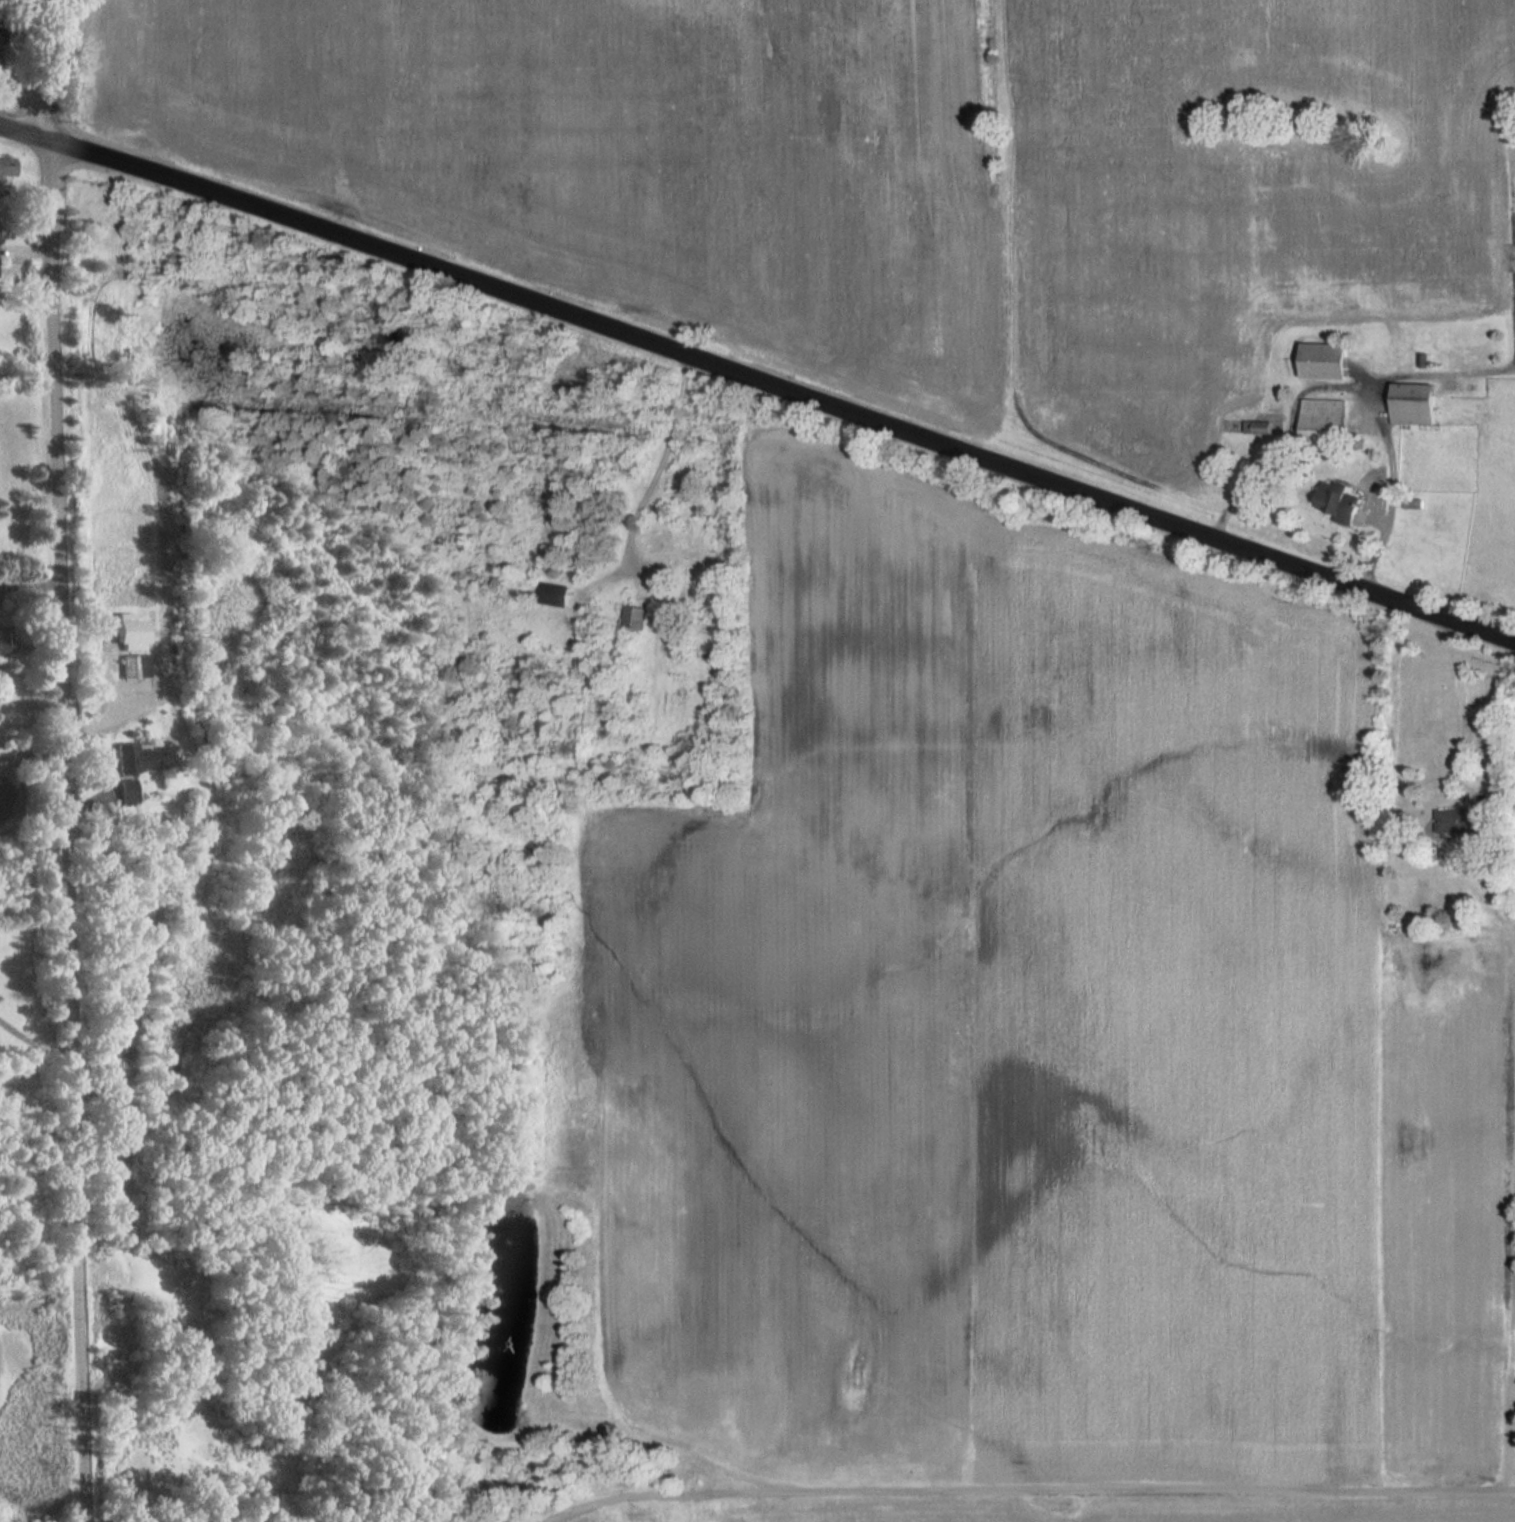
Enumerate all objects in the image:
building: (1, 36)
road: (26, 133)
building: (7, 166)
building: (1325, 360)
road: (1349, 387)
road: (784, 388)
building: (1415, 403)
building: (1323, 421)
building: (1259, 427)
building: (1341, 501)
building: (1416, 503)
road: (31, 579)
building: (556, 594)
building: (636, 617)
building: (132, 632)
building: (6, 639)
building: (137, 666)
road: (120, 709)
road: (1481, 747)
road: (34, 748)
building: (137, 757)
road: (68, 760)
building: (1467, 821)
road: (36, 1041)
road: (1027, 1491)

